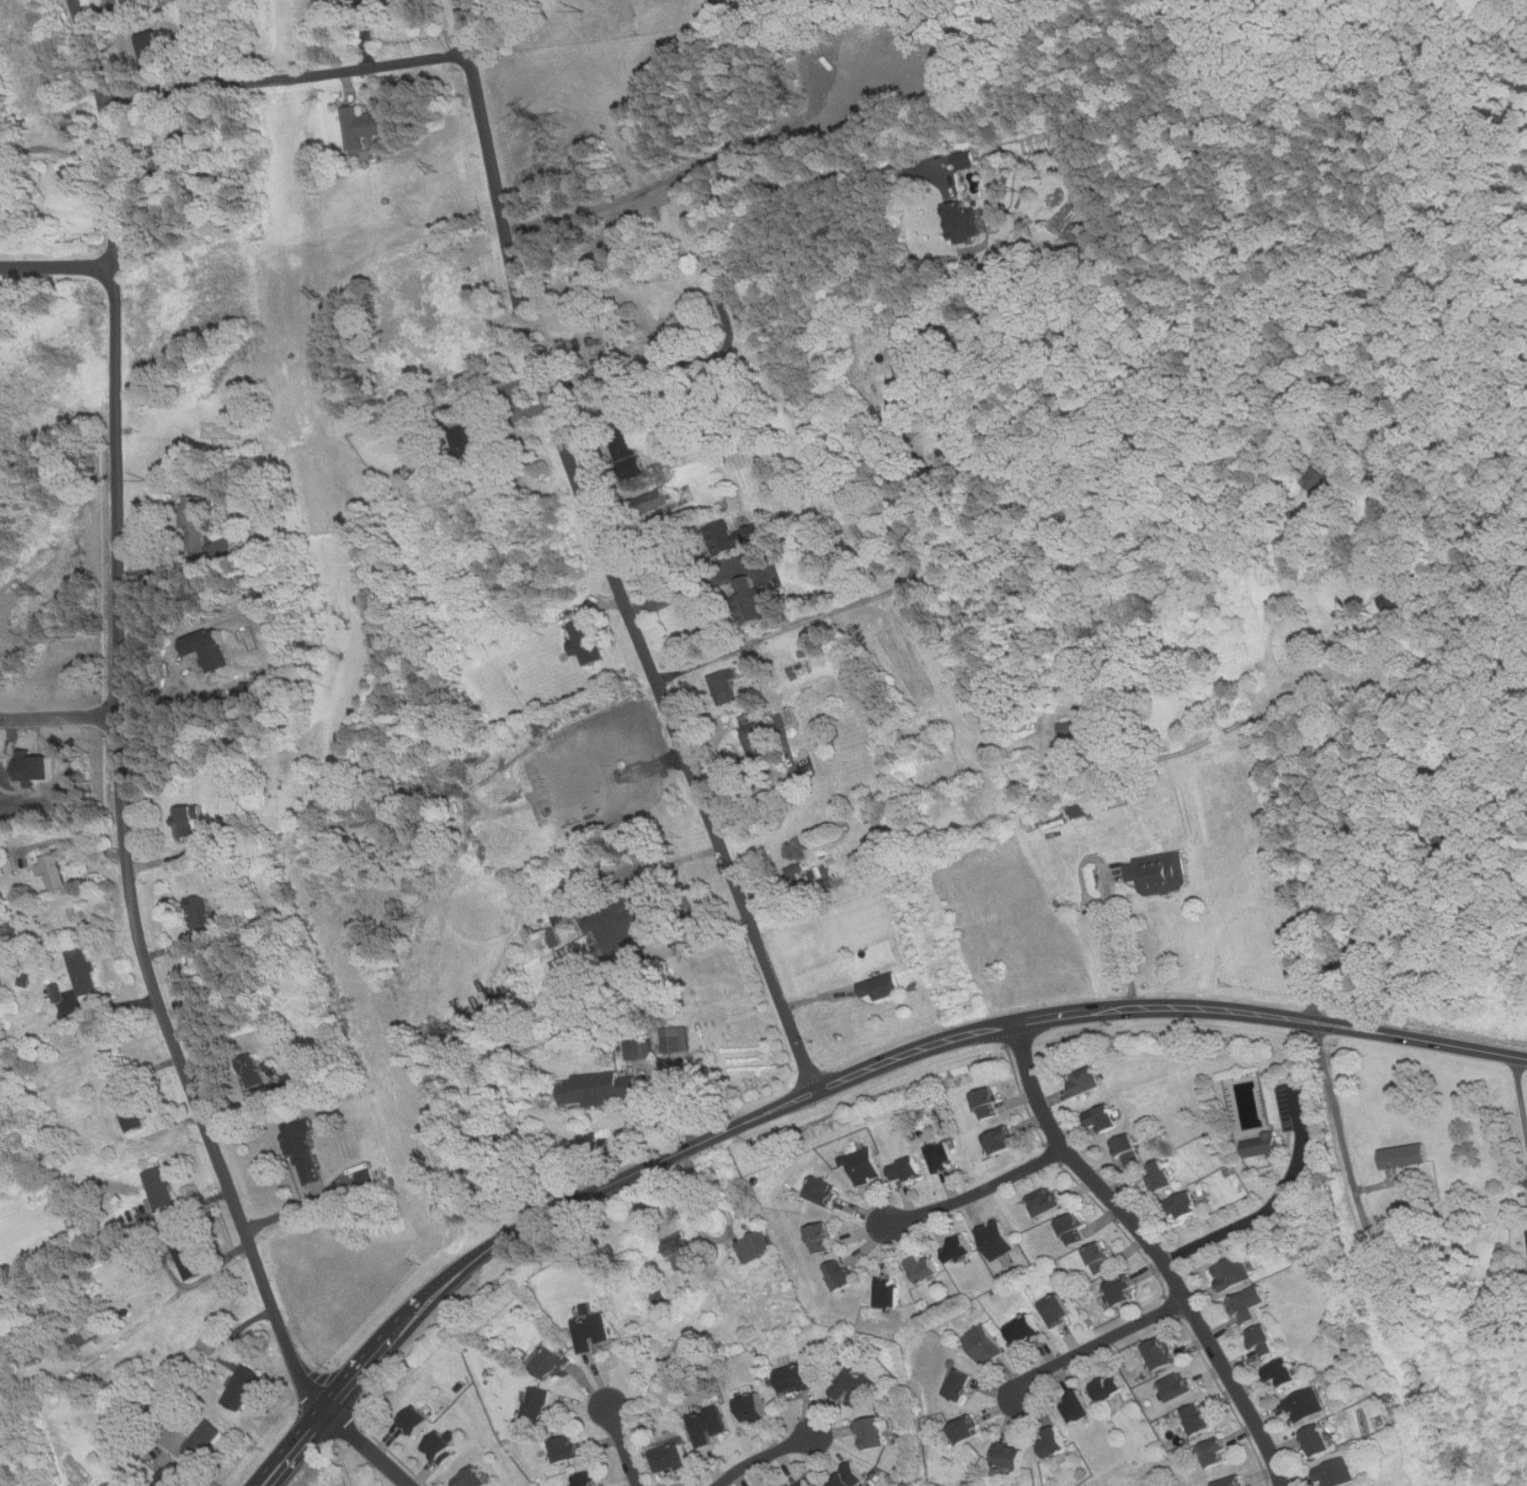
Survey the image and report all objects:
building: (350, 0)
road: (287, 77)
power tower: (554, 122)
building: (366, 127)
building: (965, 157)
power tower: (434, 170)
building: (1, 173)
building: (965, 222)
road: (701, 254)
road: (58, 267)
power tower: (319, 292)
power tower: (72, 355)
building: (912, 366)
building: (471, 442)
building: (625, 442)
building: (651, 501)
building: (193, 514)
building: (733, 537)
building: (222, 549)
road: (605, 553)
road: (158, 571)
power tower: (40, 591)
road: (692, 591)
road: (883, 593)
building: (752, 602)
building: (587, 642)
building: (726, 688)
road: (60, 717)
road: (120, 718)
building: (1081, 728)
building: (755, 740)
road: (776, 792)
building: (1083, 810)
road: (1283, 814)
building: (190, 821)
road: (67, 838)
building: (582, 848)
building: (1160, 873)
building: (55, 874)
building: (799, 876)
road: (676, 878)
building: (200, 912)
building: (641, 914)
building: (8, 926)
road: (697, 939)
road: (1123, 944)
building: (84, 971)
building: (26, 980)
building: (881, 987)
road: (105, 1006)
road: (1331, 1023)
building: (675, 1039)
building: (640, 1050)
building: (252, 1070)
building: (1088, 1081)
building: (299, 1084)
building: (601, 1088)
road: (1522, 1091)
building: (989, 1104)
building: (131, 1112)
road: (254, 1113)
building: (1105, 1118)
road: (134, 1139)
building: (1003, 1140)
building: (1263, 1145)
building: (306, 1150)
building: (1130, 1150)
building: (944, 1156)
building: (1406, 1156)
road: (648, 1165)
building: (866, 1165)
building: (908, 1170)
building: (1161, 1176)
building: (161, 1188)
building: (824, 1191)
road: (977, 1192)
building: (1046, 1202)
road: (1269, 1203)
building: (1185, 1206)
road: (302, 1209)
building: (1074, 1230)
building: (822, 1238)
building: (997, 1240)
building: (756, 1246)
road: (1154, 1247)
building: (960, 1250)
building: (684, 1252)
building: (188, 1256)
road: (1376, 1256)
building: (1102, 1259)
building: (926, 1270)
building: (842, 1274)
building: (1233, 1274)
building: (1123, 1290)
building: (890, 1295)
building: (1253, 1303)
building: (1059, 1311)
building: (1026, 1330)
building: (592, 1332)
building: (86, 1337)
building: (1264, 1342)
building: (211, 1343)
building: (985, 1345)
road: (1097, 1345)
building: (1162, 1355)
building: (681, 1356)
building: (552, 1363)
building: (1284, 1373)
building: (797, 1380)
building: (855, 1386)
building: (961, 1386)
building: (242, 1388)
building: (1179, 1388)
building: (1111, 1389)
building: (540, 1406)
building: (1307, 1406)
building: (754, 1409)
building: (1079, 1409)
building: (419, 1419)
building: (1200, 1420)
building: (708, 1425)
building: (967, 1431)
building: (875, 1434)
building: (205, 1439)
building: (1318, 1441)
road: (622, 1444)
building: (1055, 1444)
road: (365, 1445)
building: (444, 1447)
building: (570, 1449)
building: (1216, 1452)
road: (767, 1456)
building: (1011, 1457)
building: (672, 1460)
building: (1337, 1473)
building: (850, 1478)
building: (474, 1479)
building: (166, 1480)
building: (588, 1480)
building: (1233, 1482)
building: (802, 1483)

